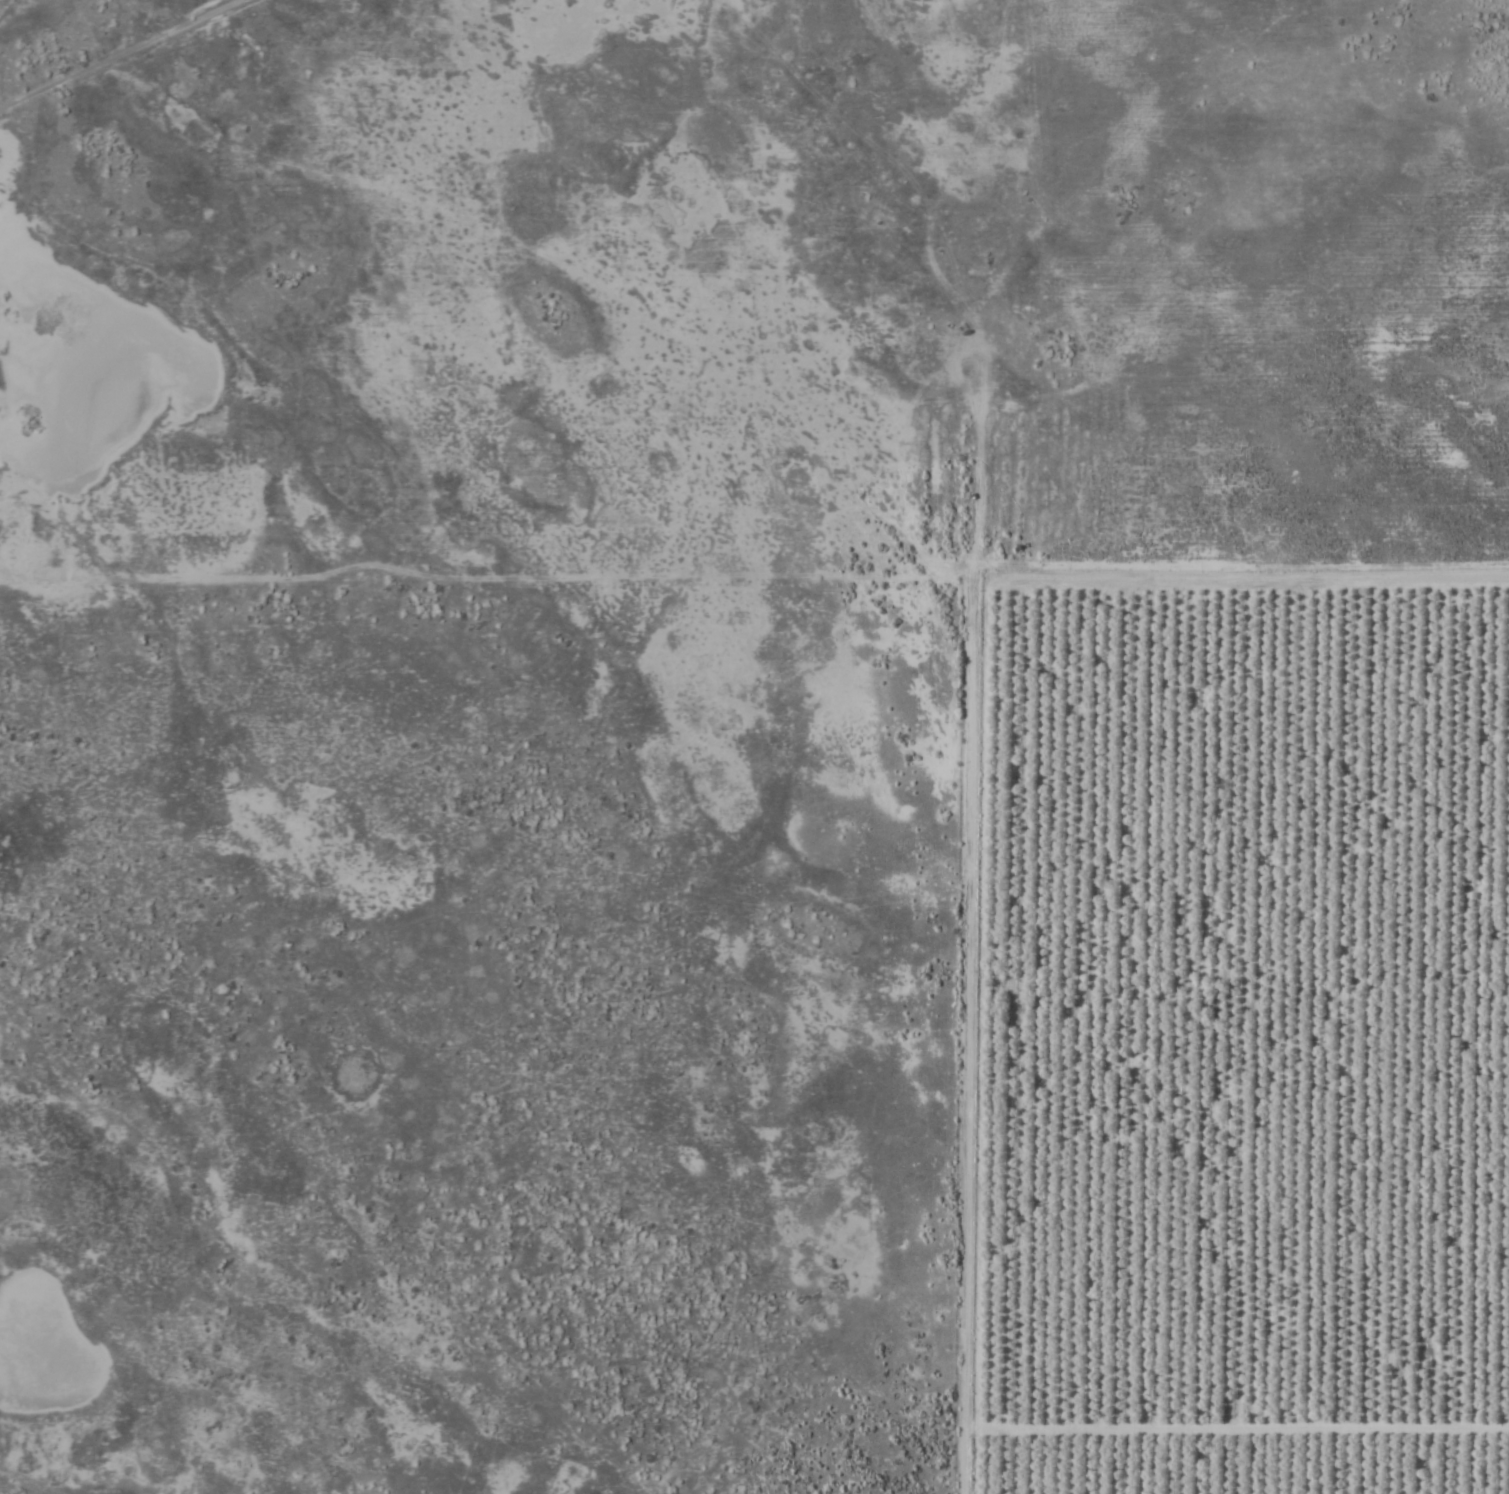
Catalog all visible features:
road: (144, 66)

